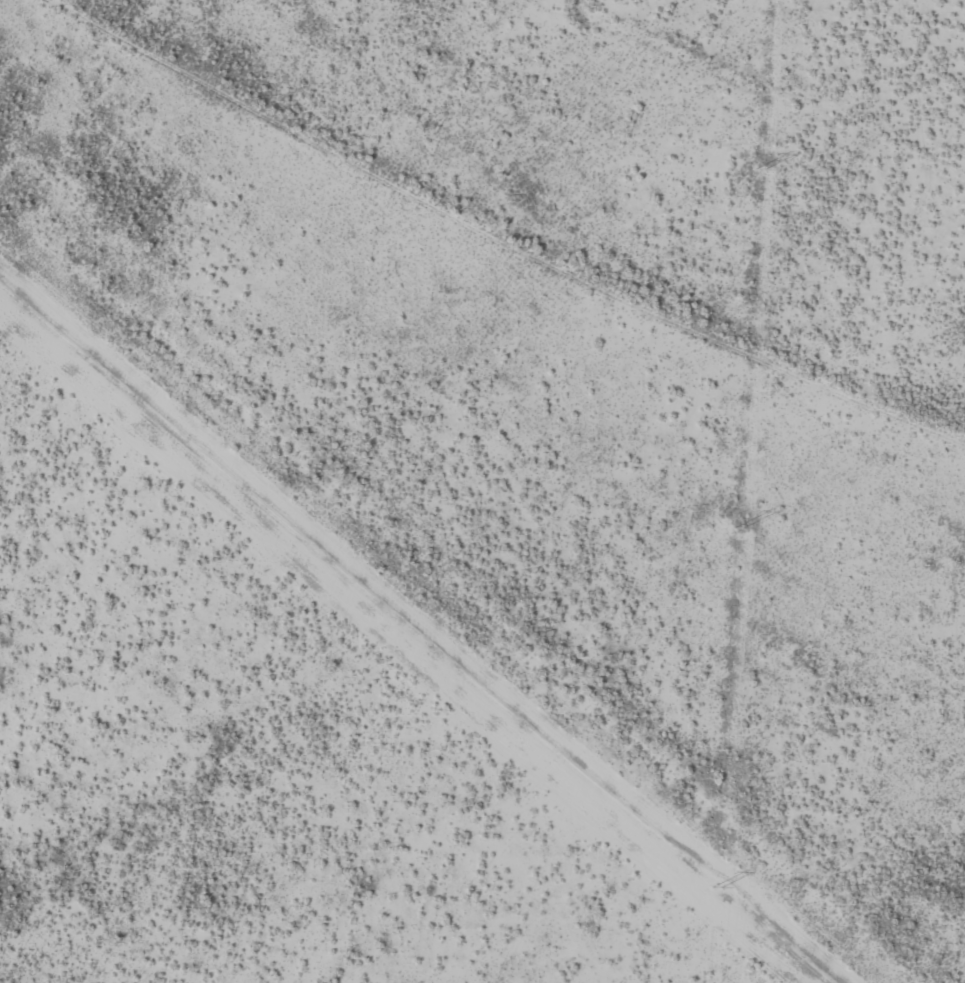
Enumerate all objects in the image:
power tower: (760, 170)
power tower: (738, 528)
road: (417, 639)
power tower: (716, 888)

